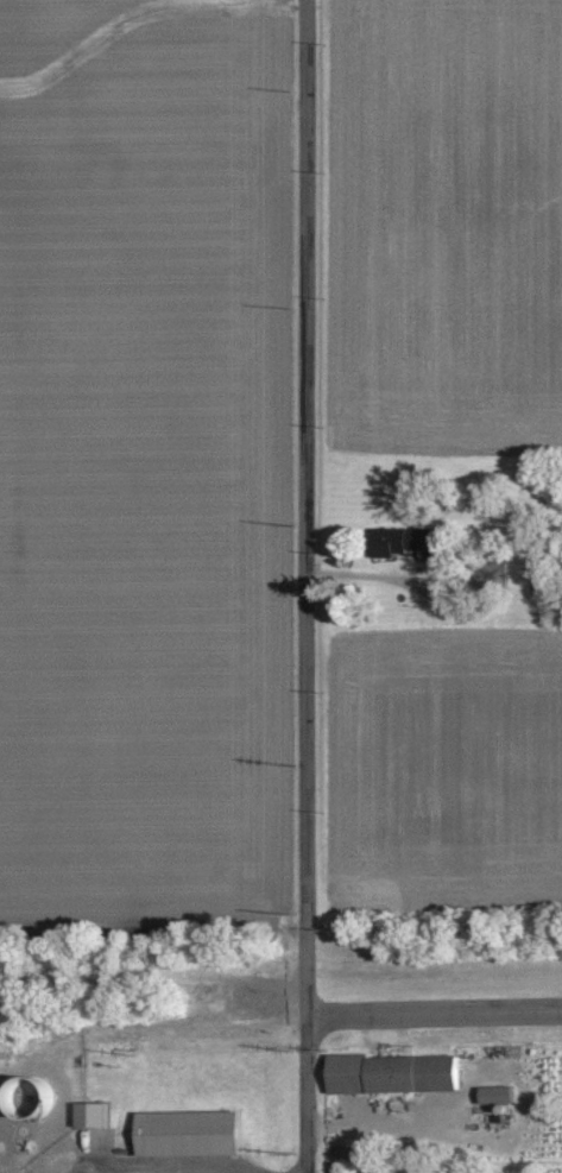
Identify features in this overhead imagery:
building: (409, 541)
road: (305, 586)
road: (434, 1013)
building: (392, 1074)
building: (499, 1095)
building: (91, 1114)
building: (187, 1133)

